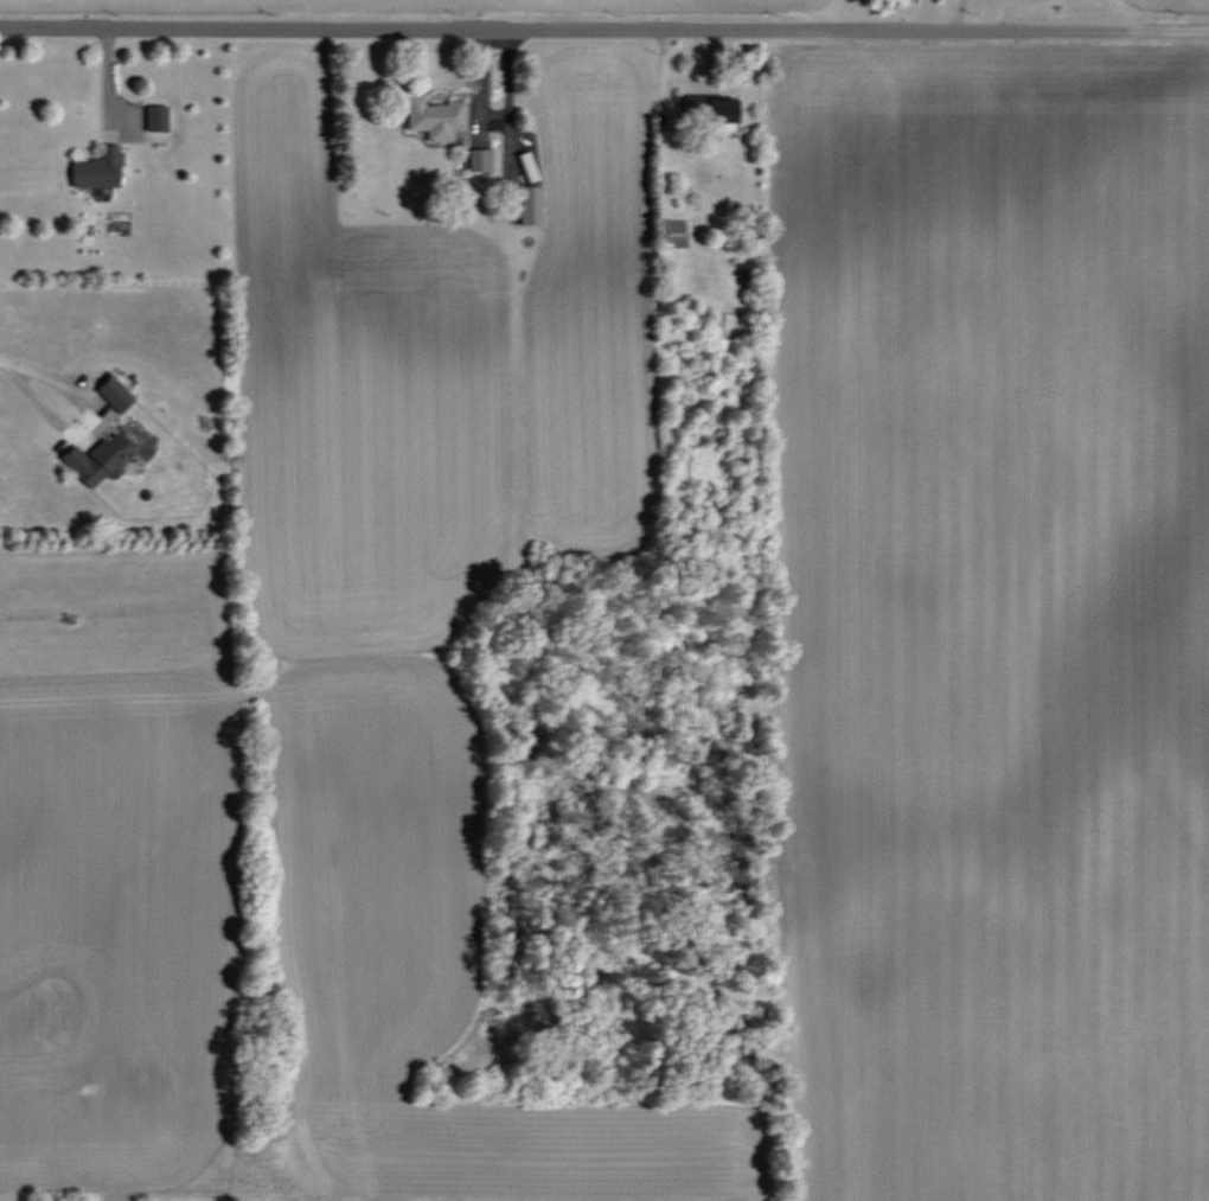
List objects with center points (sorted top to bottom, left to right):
road: (525, 31)
road: (1130, 33)
building: (712, 108)
building: (435, 117)
building: (156, 119)
building: (480, 159)
building: (97, 168)
building: (527, 203)
road: (33, 394)
building: (114, 394)
building: (98, 459)

